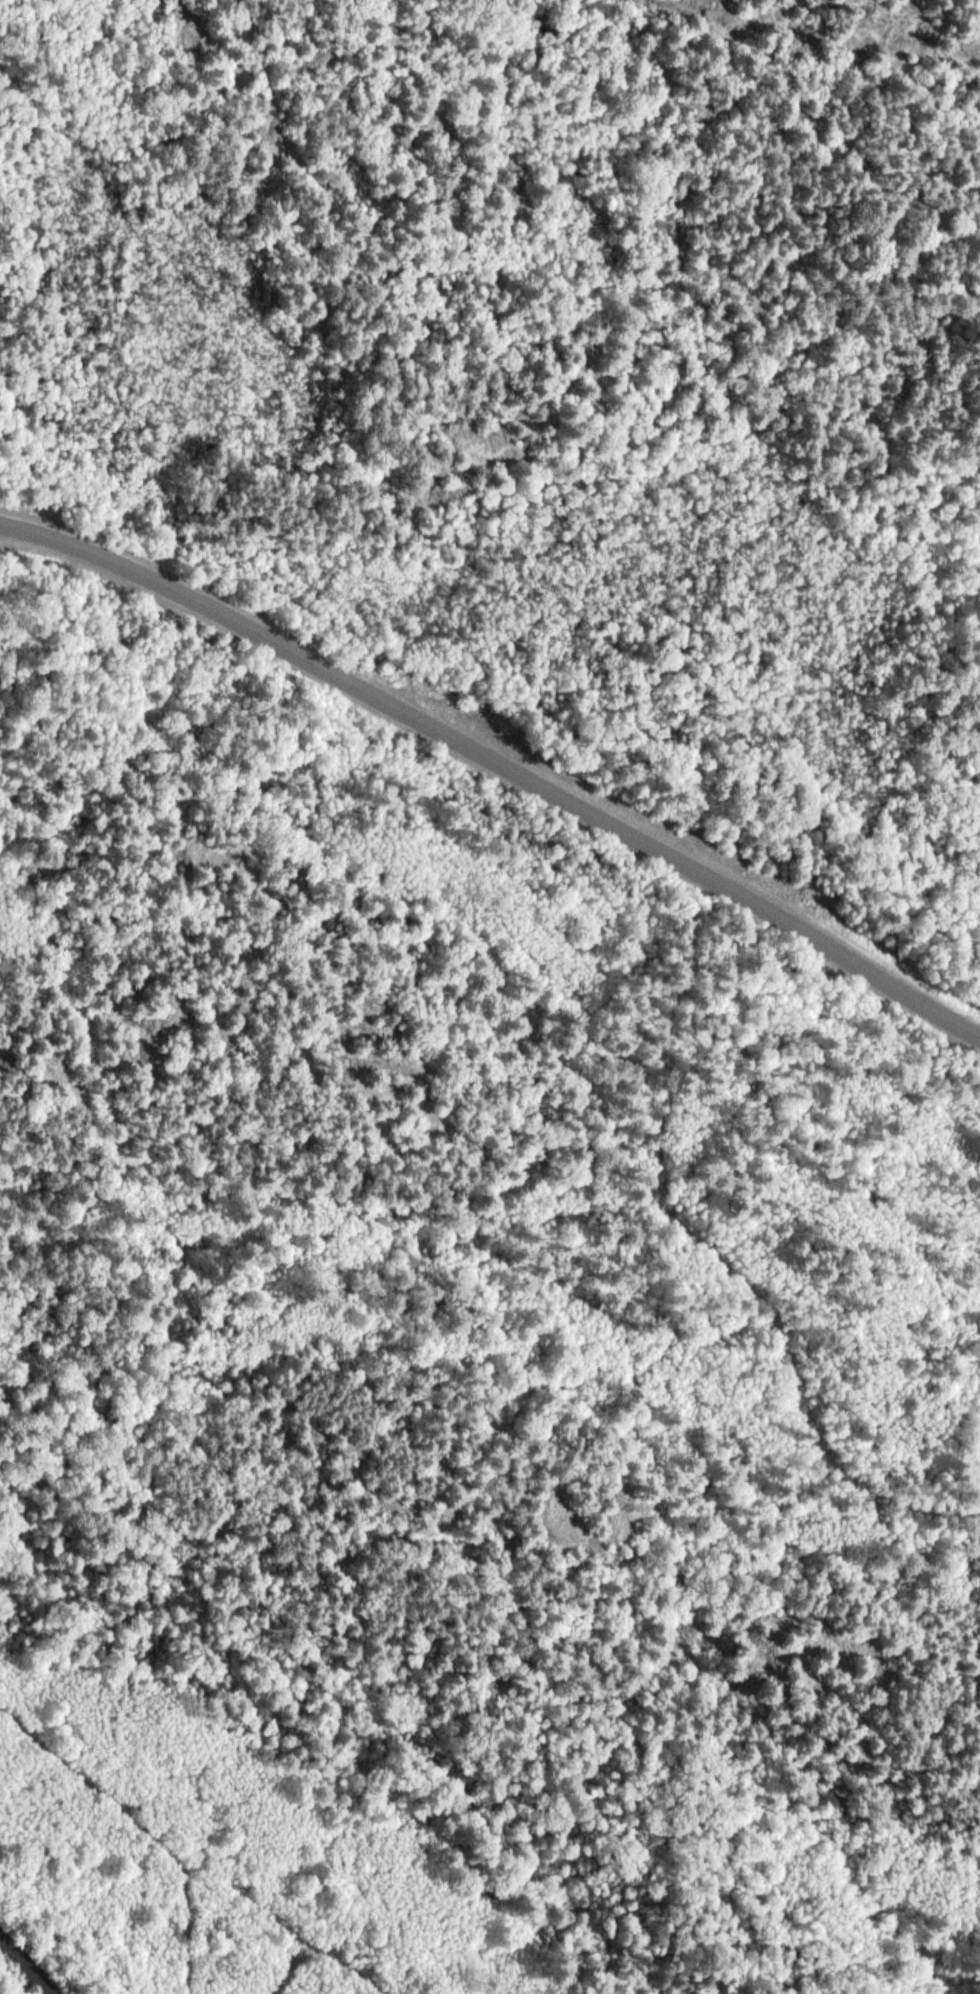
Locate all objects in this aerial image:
road: (499, 762)
road: (394, 1710)
road: (144, 1824)
road: (327, 1956)
railway: (29, 1963)

